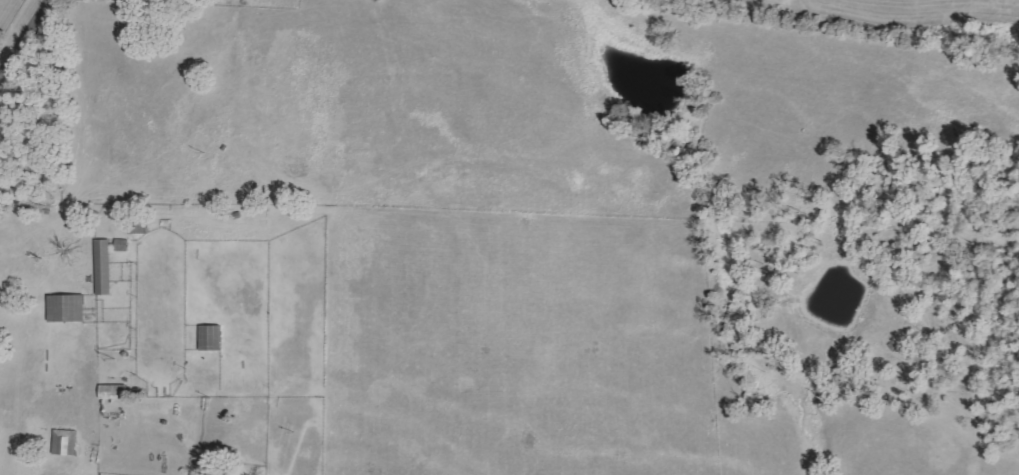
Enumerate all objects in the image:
road: (25, 38)
building: (105, 267)
building: (68, 307)
building: (212, 337)
building: (115, 391)
building: (66, 442)
road: (189, 470)

